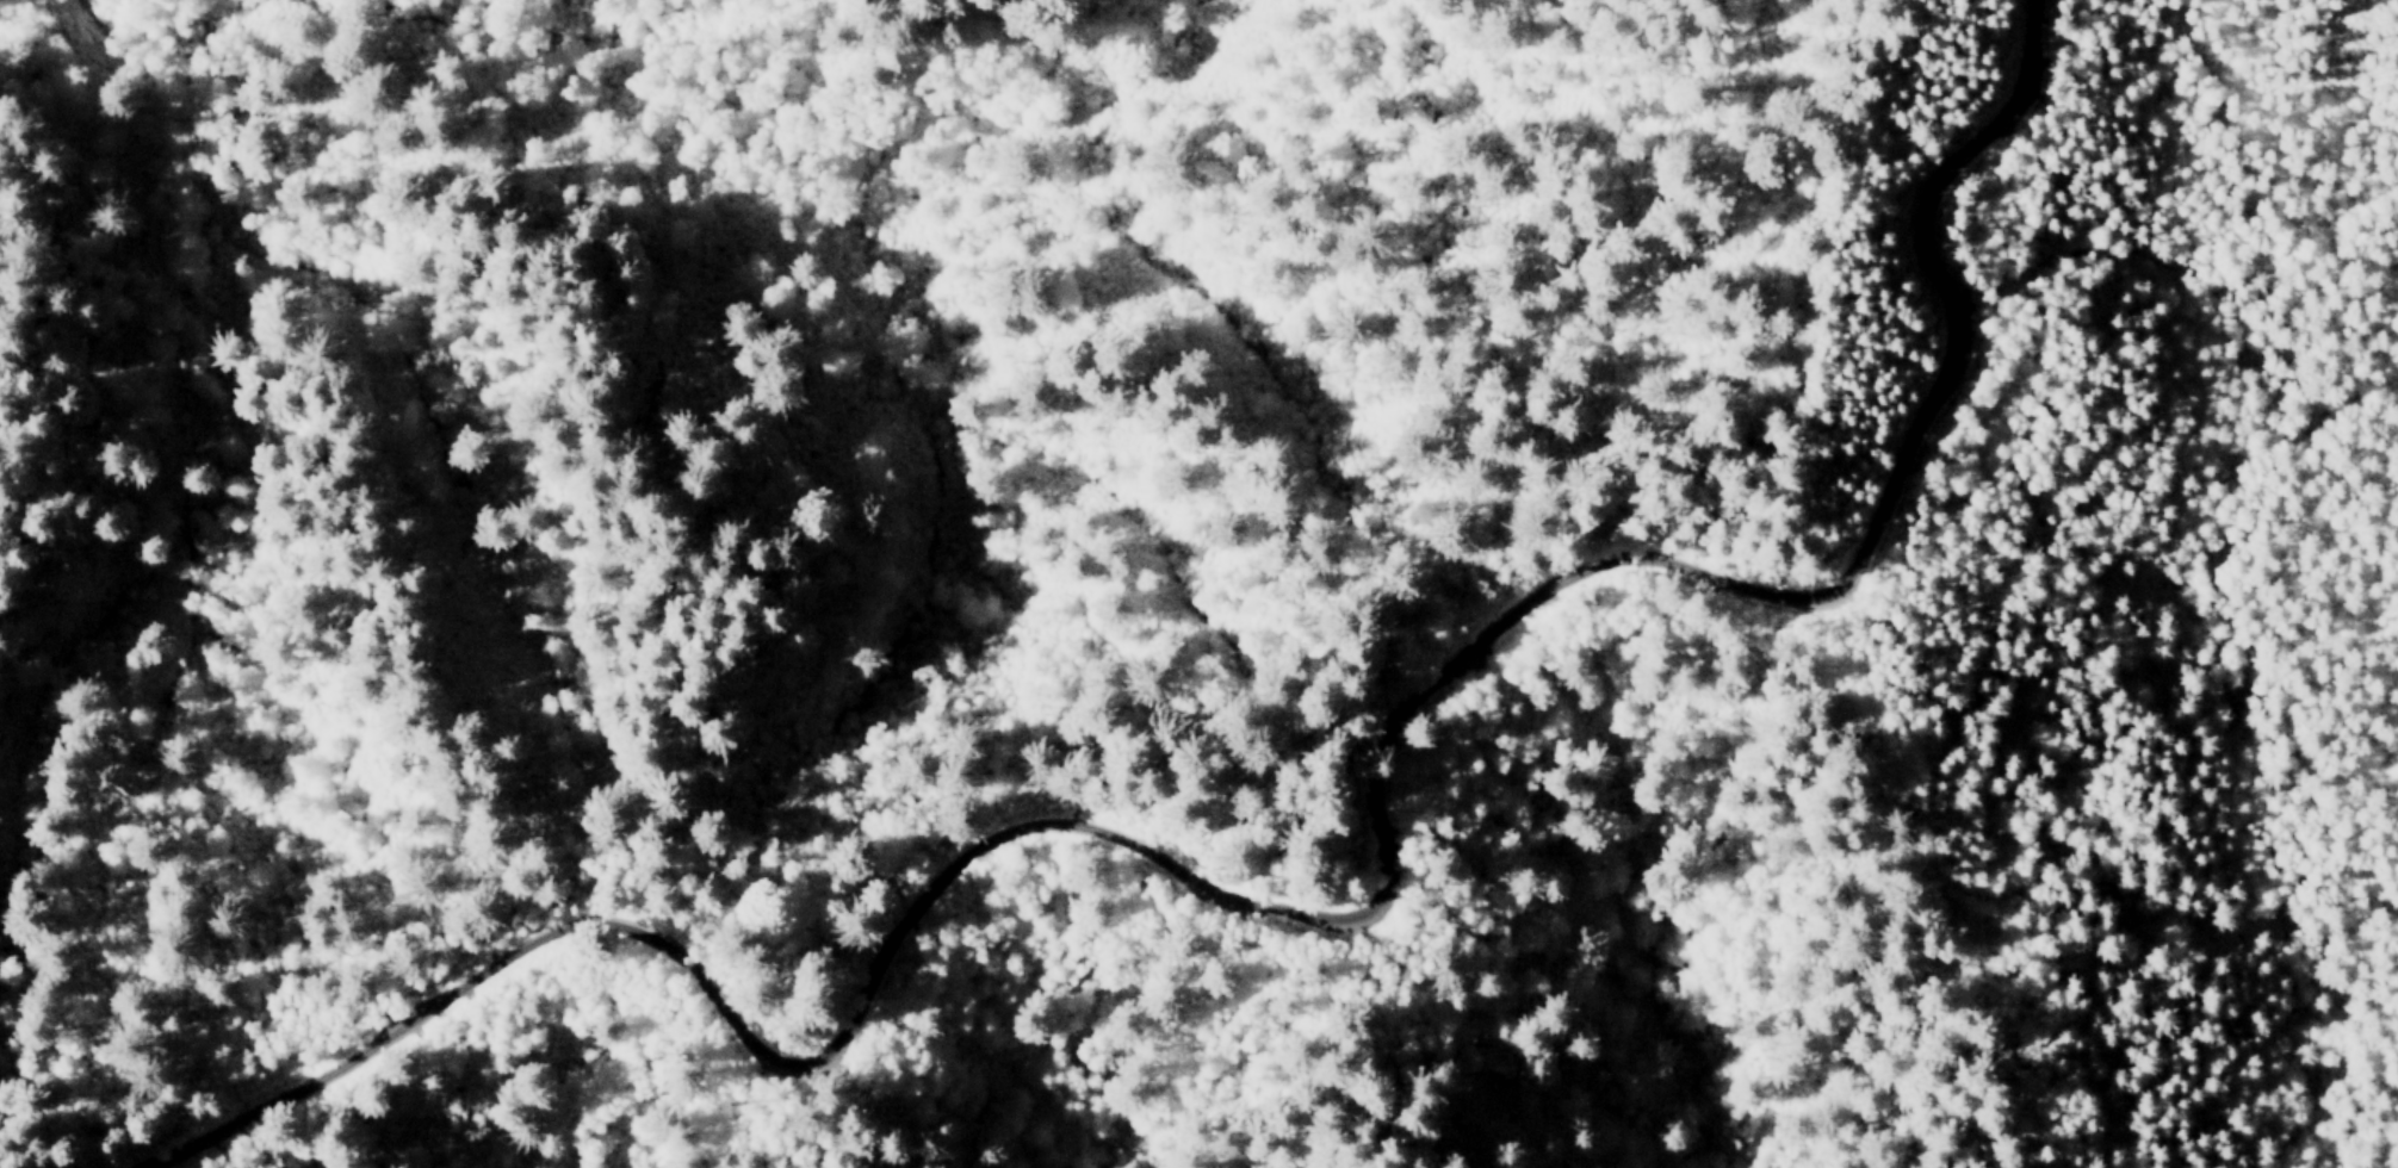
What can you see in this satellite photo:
road: (1305, 920)

